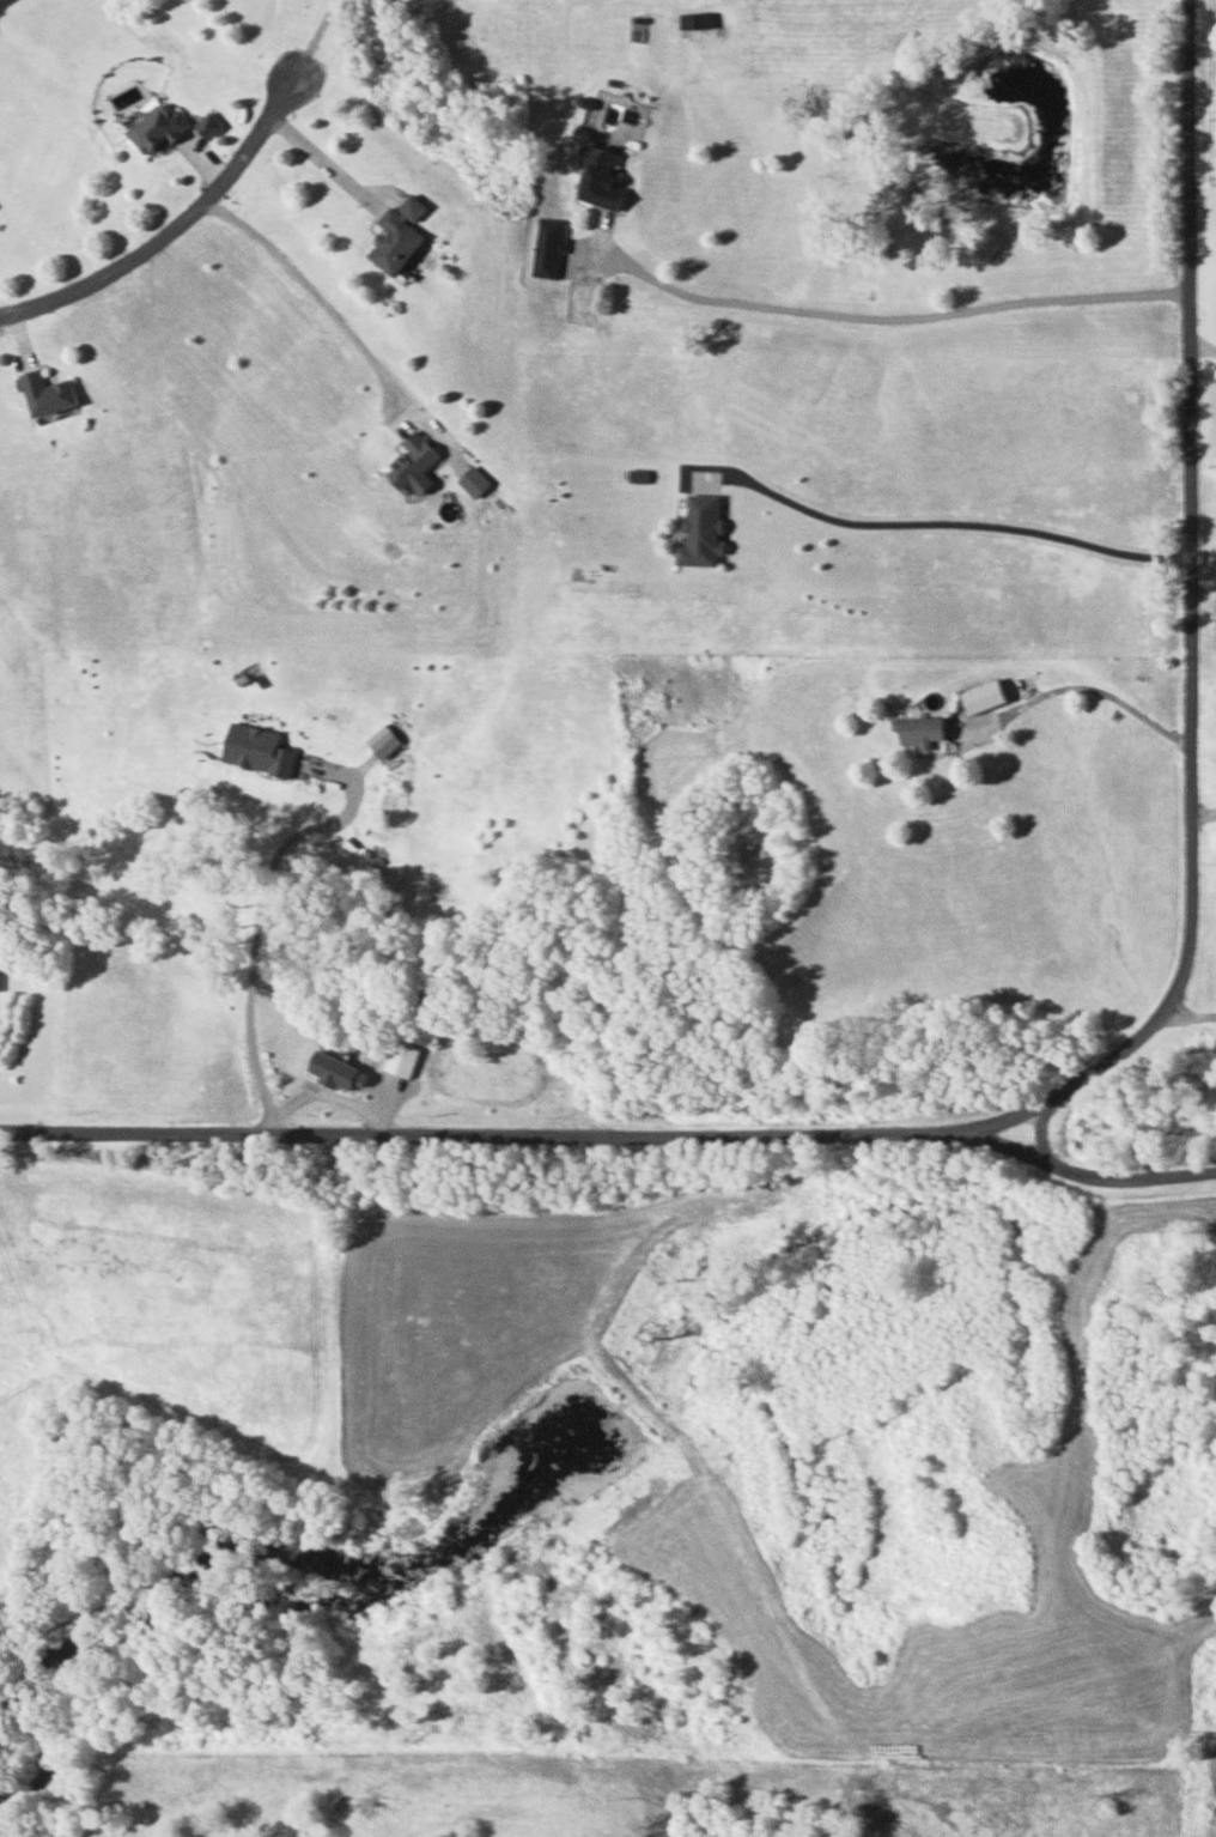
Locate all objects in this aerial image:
building: (693, 20)
building: (154, 128)
road: (329, 165)
building: (600, 177)
road: (205, 198)
building: (395, 235)
building: (543, 247)
road: (304, 293)
road: (882, 313)
building: (45, 393)
building: (409, 460)
building: (472, 480)
road: (971, 523)
building: (700, 531)
road: (1190, 610)
road: (1095, 690)
building: (981, 696)
building: (917, 730)
building: (255, 750)
road: (1204, 814)
road: (265, 933)
road: (1191, 1012)
building: (401, 1057)
building: (332, 1069)
road: (612, 1133)

